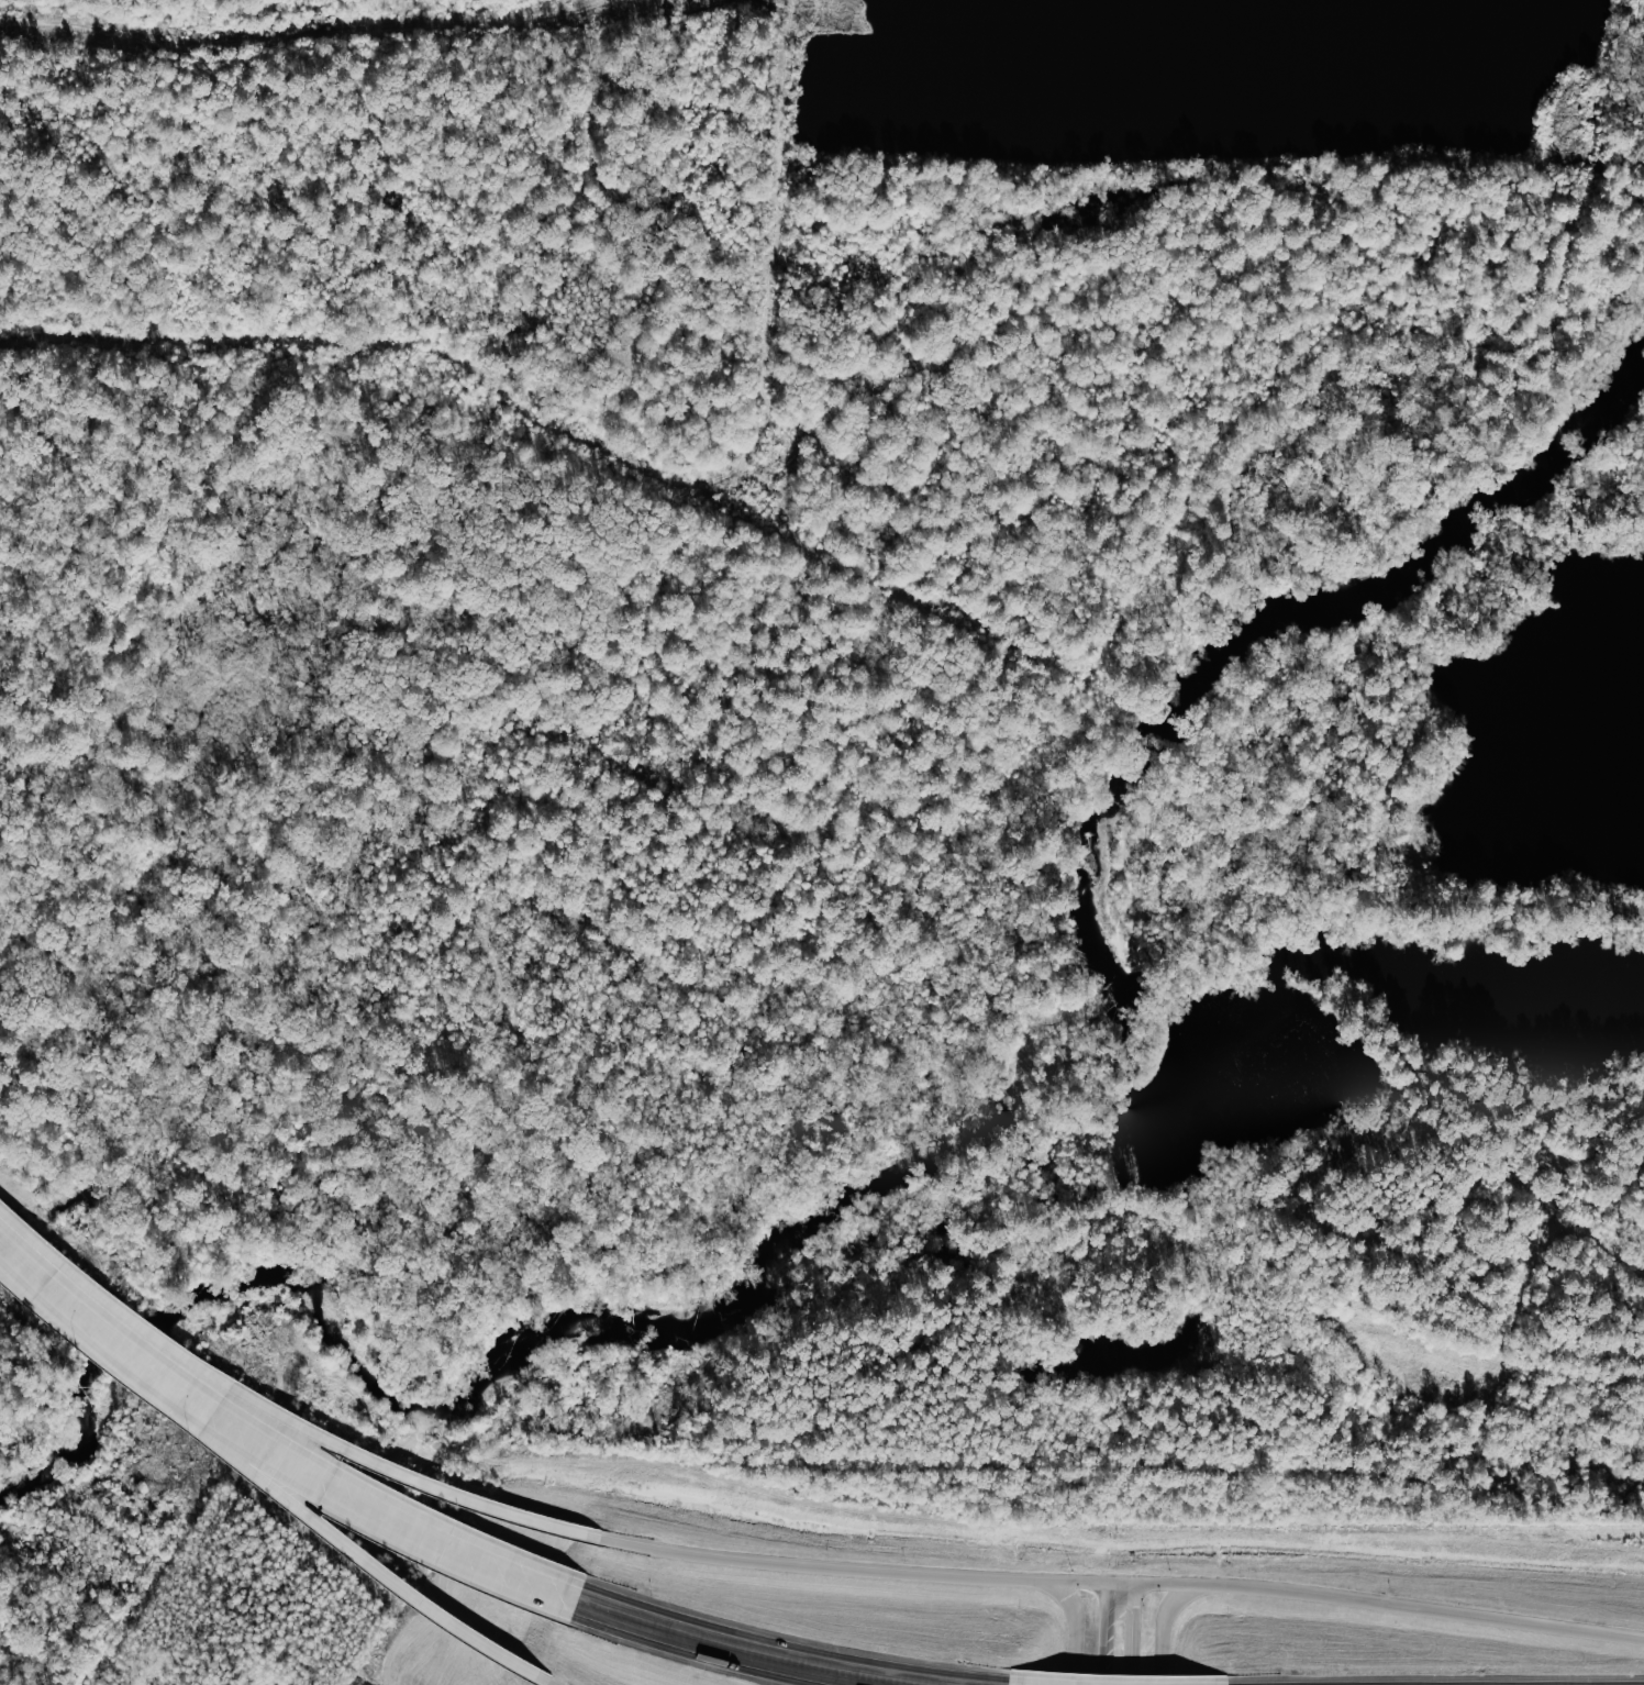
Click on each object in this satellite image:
river: (947, 1169)
road: (51, 1278)
road: (336, 1444)
road: (324, 1472)
road: (307, 1515)
road: (1114, 1586)
road: (1080, 1629)
road: (1164, 1629)
road: (1111, 1634)
road: (1142, 1634)
road: (745, 1648)
road: (544, 1682)

